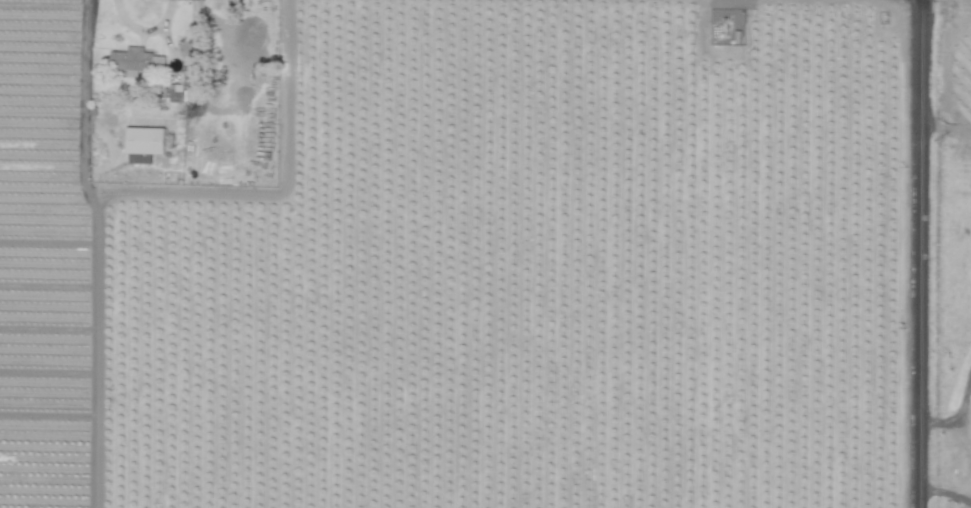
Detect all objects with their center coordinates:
building: (143, 140)
road: (188, 195)
crop: (485, 254)
road: (917, 254)
crop: (929, 256)
road: (956, 421)
road: (964, 435)
road: (968, 492)
road: (943, 494)

